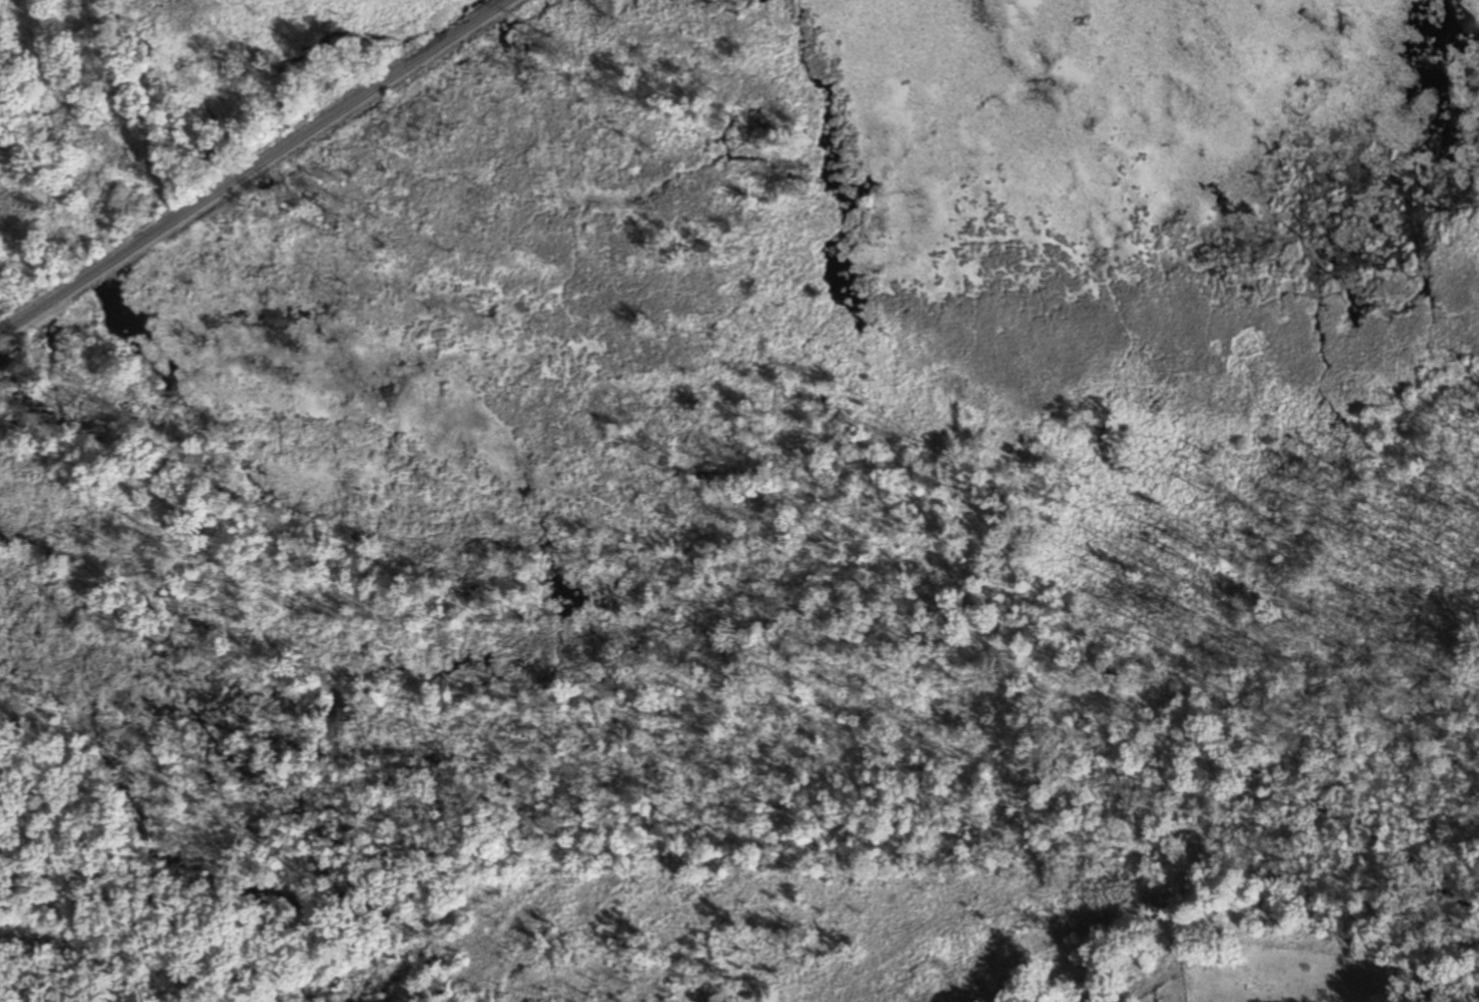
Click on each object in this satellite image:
railway: (254, 167)

